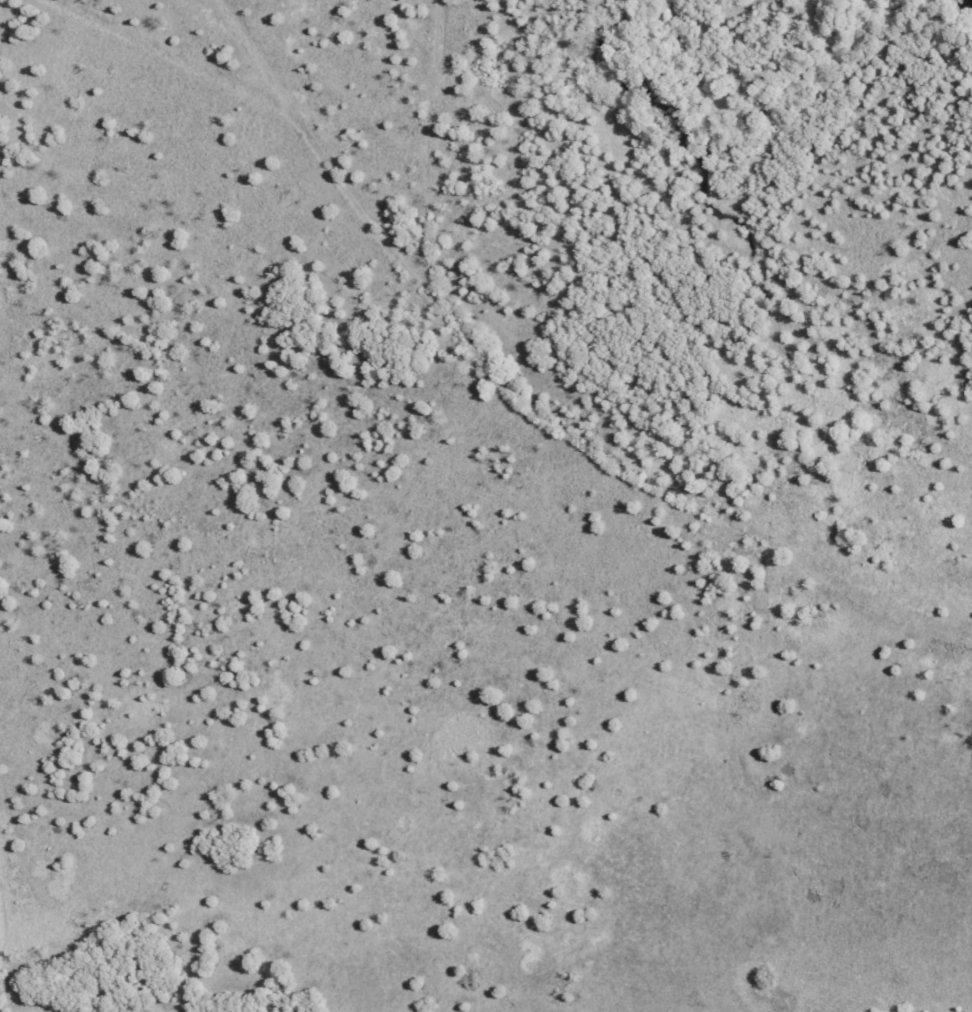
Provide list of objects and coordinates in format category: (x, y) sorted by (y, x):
road: (695, 867)

